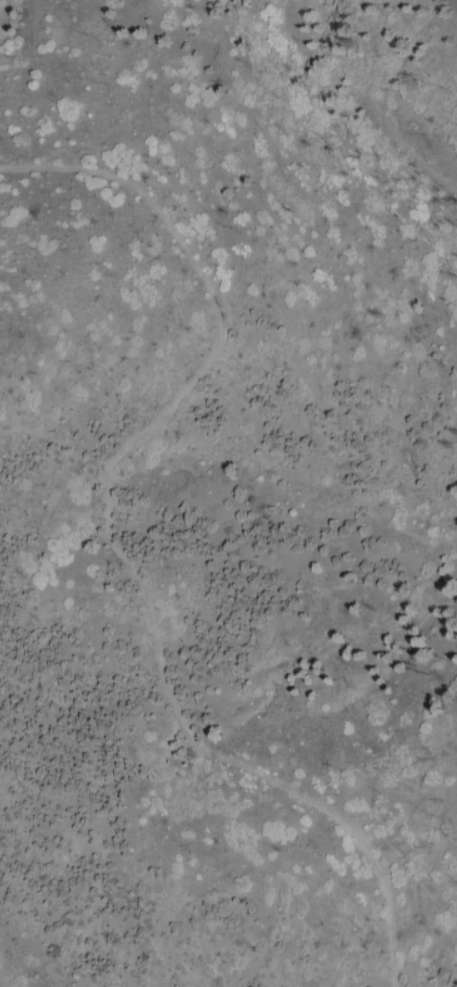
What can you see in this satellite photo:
road: (110, 544)

